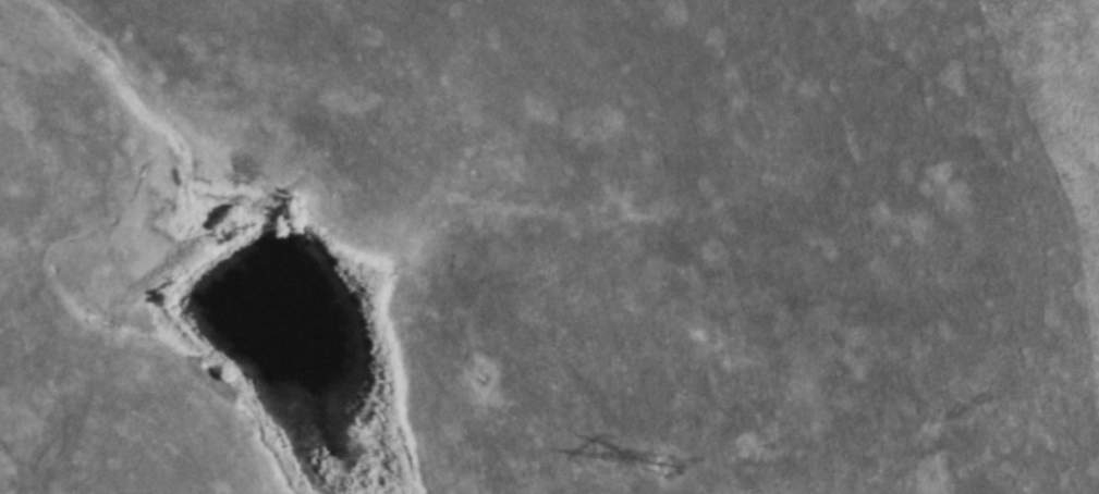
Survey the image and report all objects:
power tower: (664, 466)

